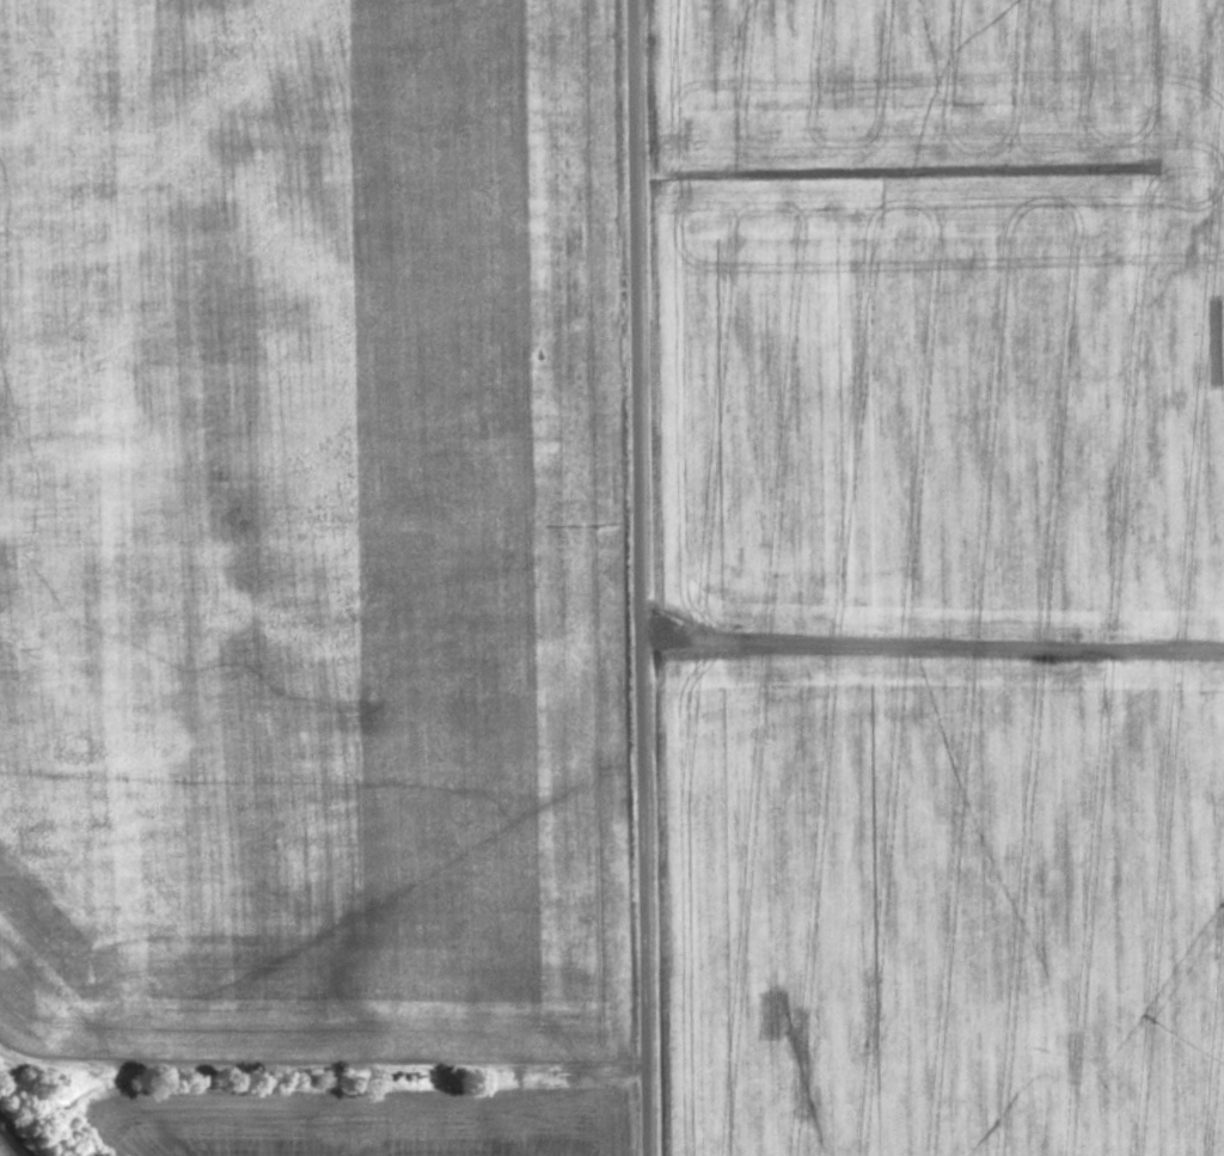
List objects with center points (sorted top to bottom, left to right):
road: (642, 577)
road: (932, 650)

